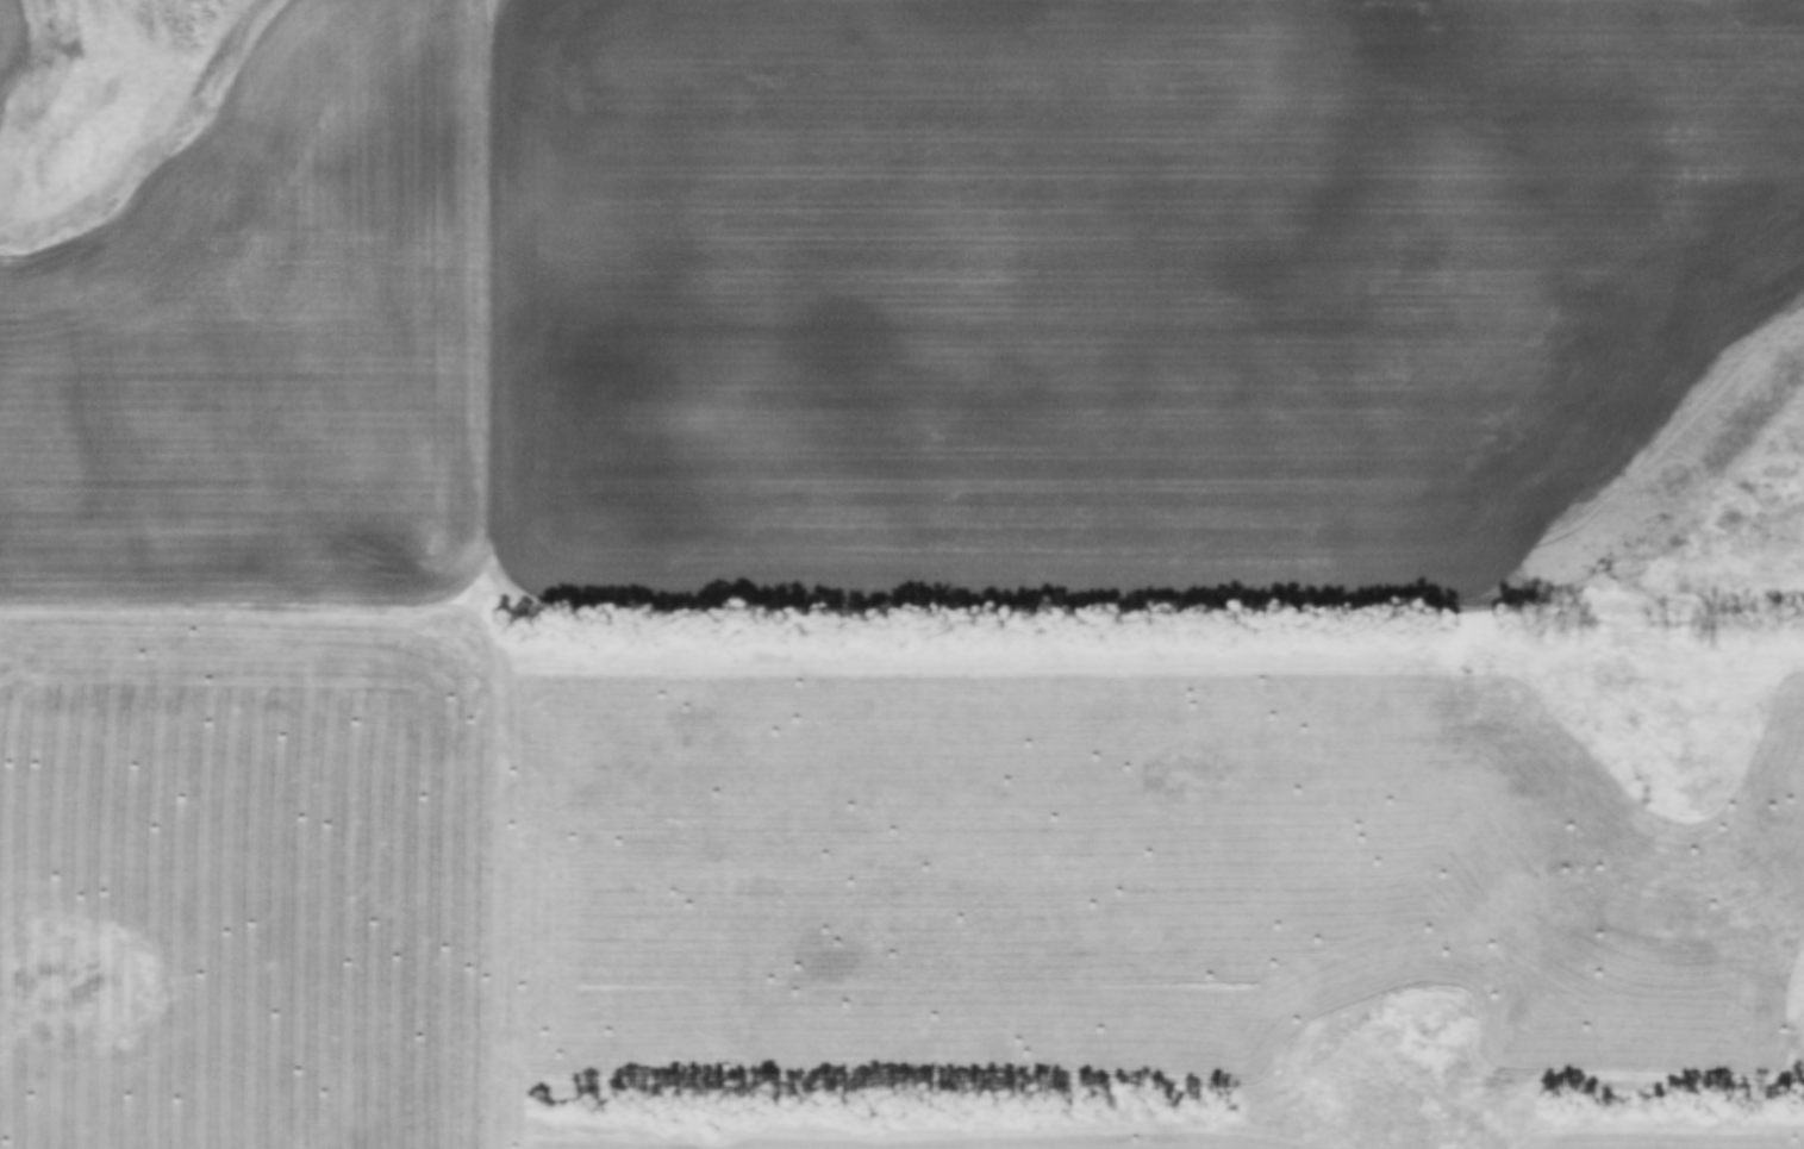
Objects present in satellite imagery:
road: (489, 574)
road: (245, 620)

